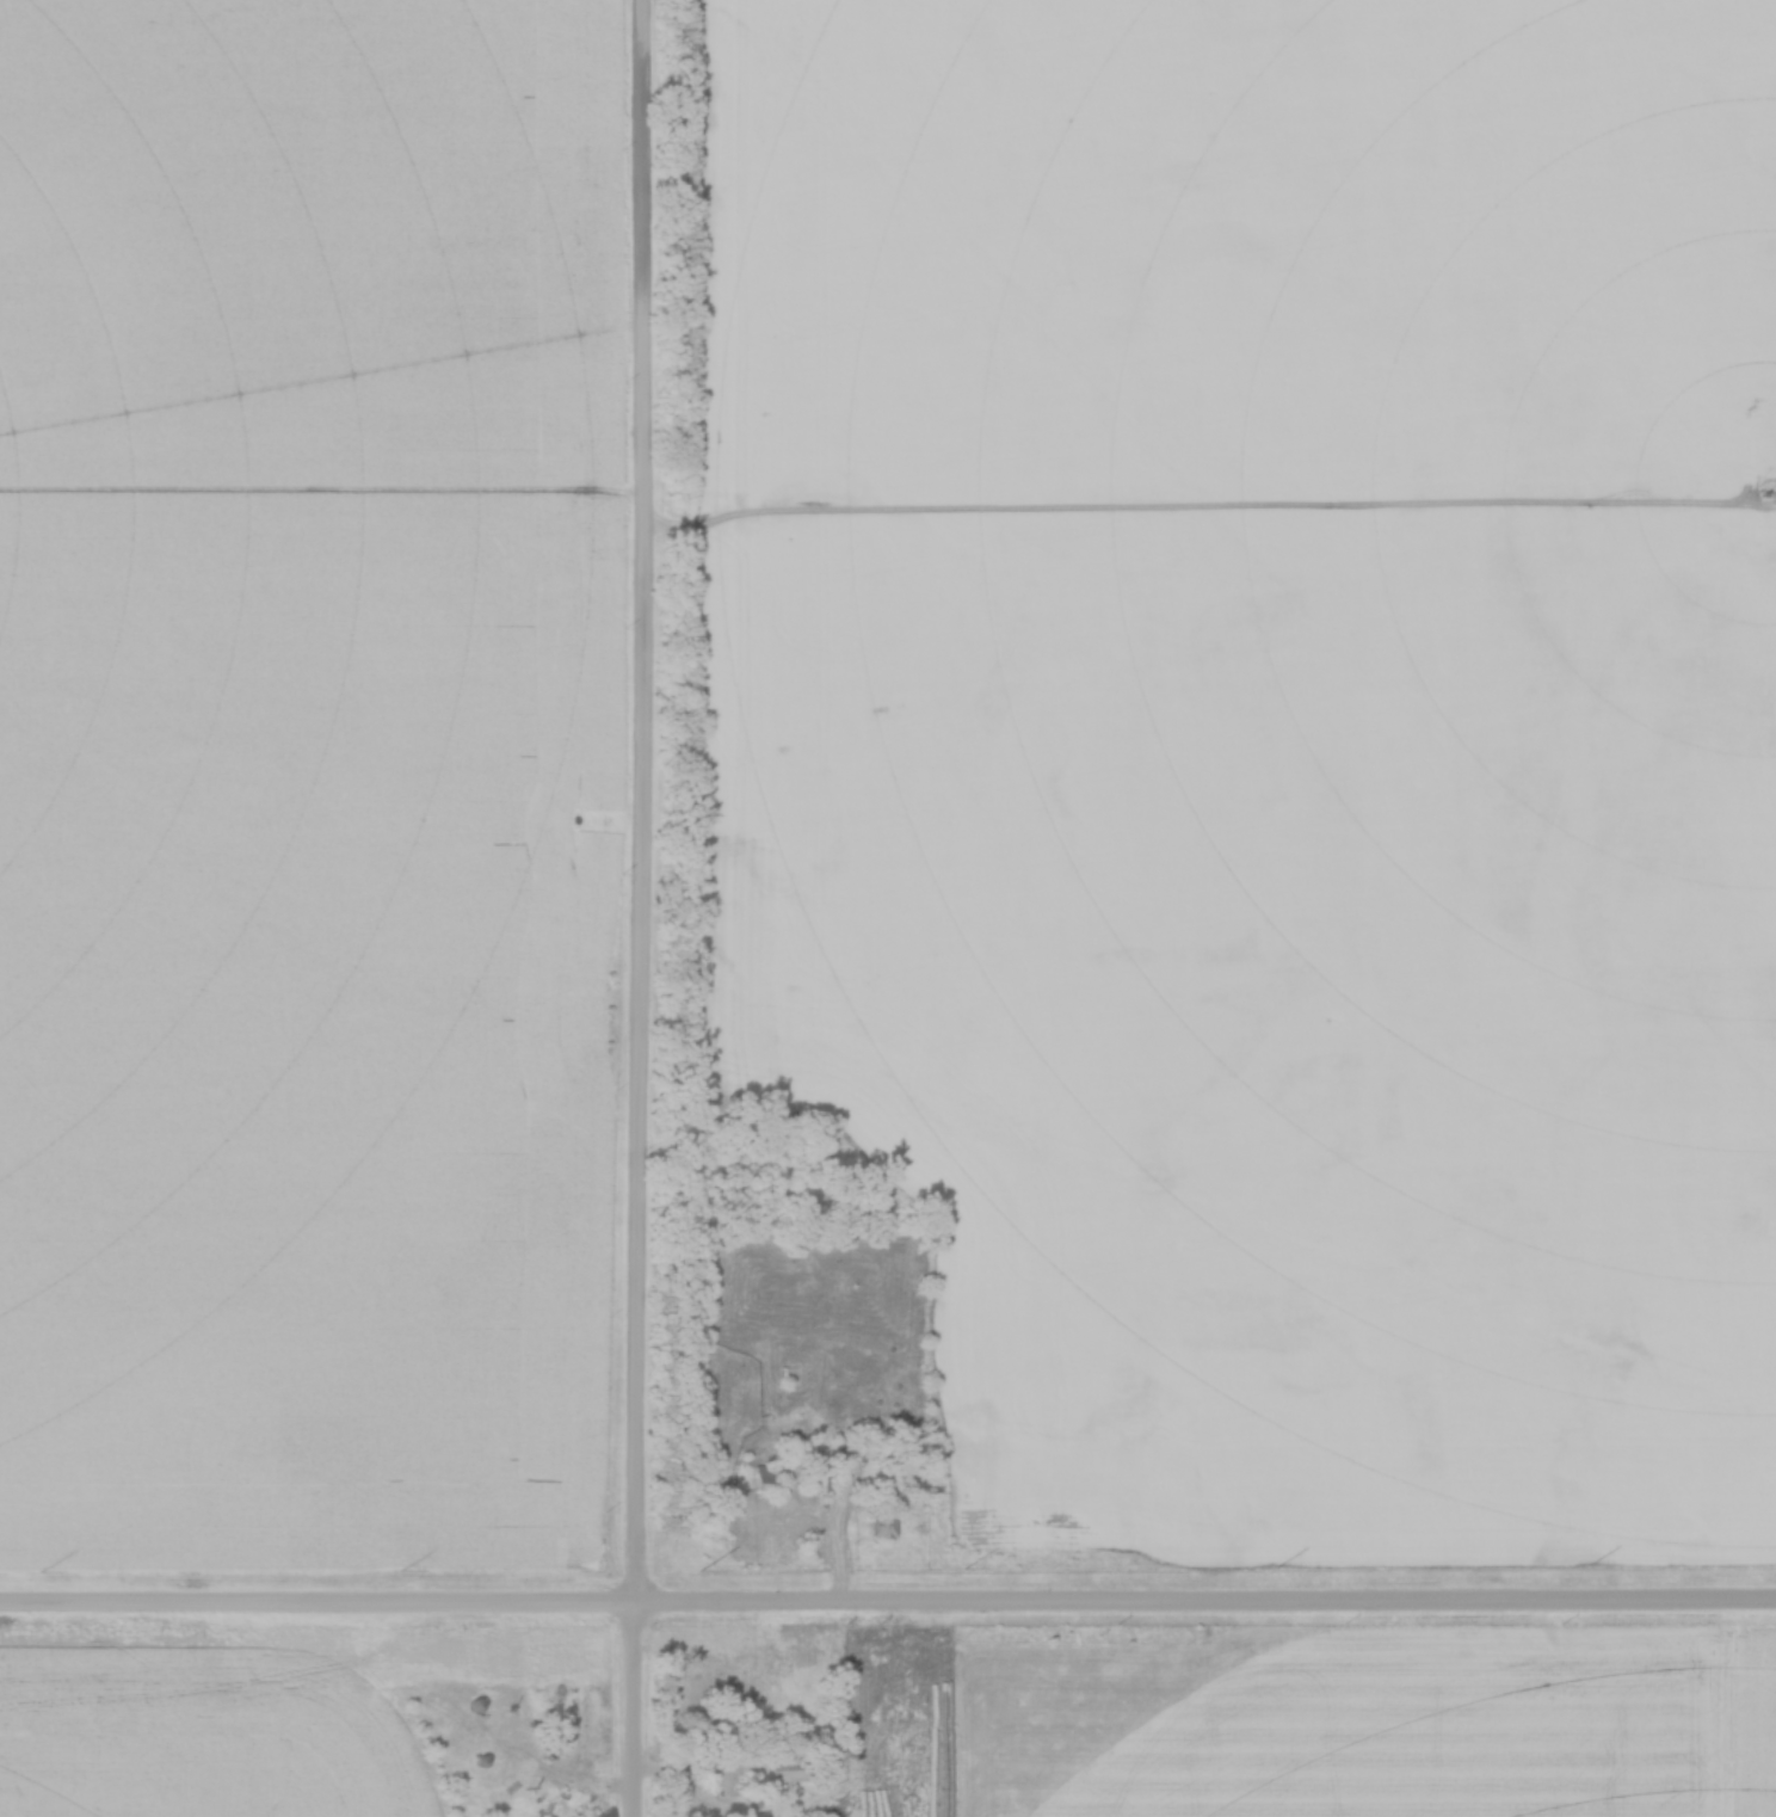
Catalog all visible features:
building: (581, 819)
road: (646, 908)
road: (834, 1459)
building: (773, 1474)
building: (822, 1480)
building: (887, 1522)
road: (843, 1571)
road: (888, 1608)
building: (800, 1767)

